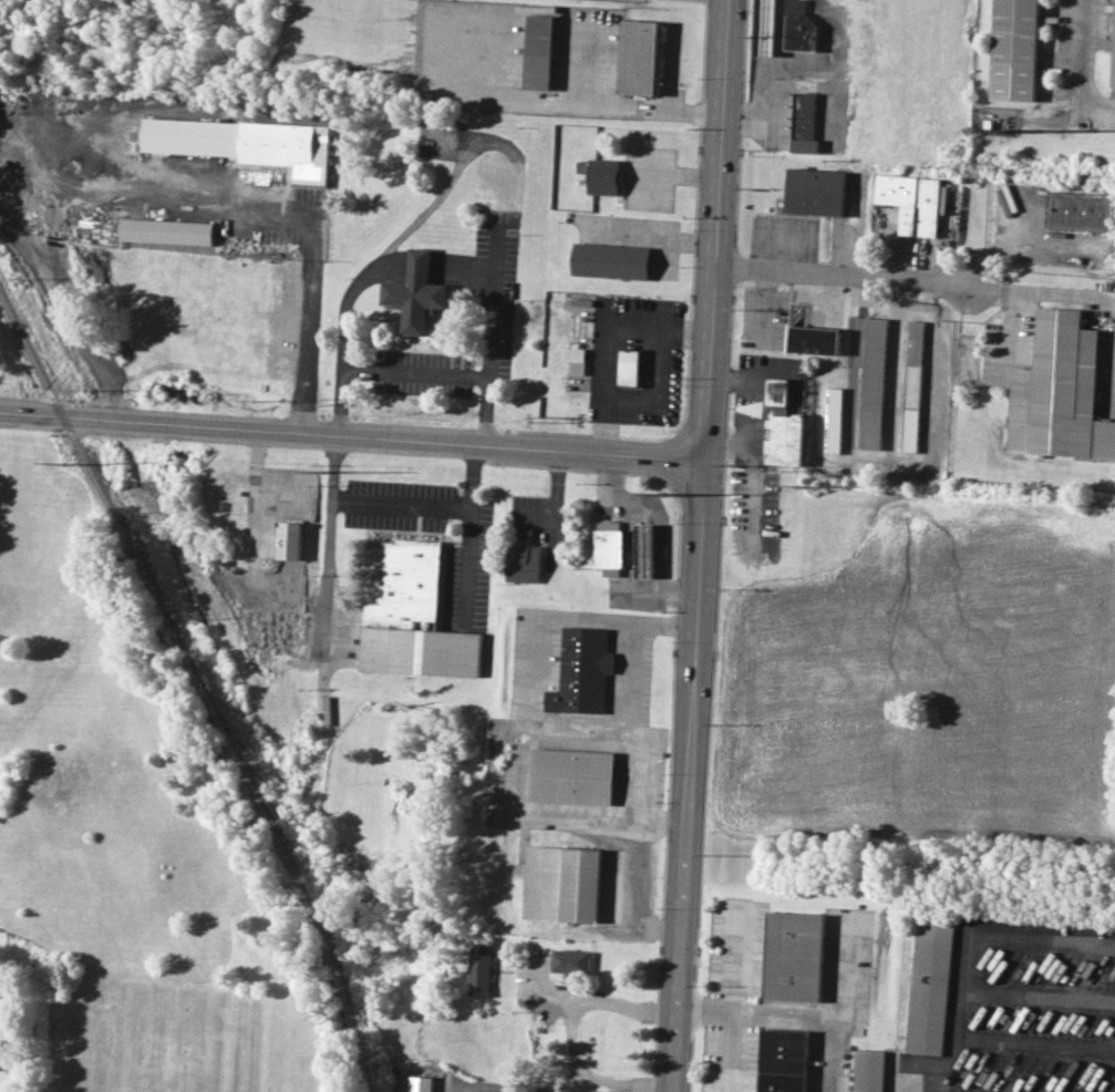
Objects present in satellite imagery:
building: (797, 28)
building: (1013, 50)
building: (1112, 50)
building: (538, 52)
road: (1080, 56)
building: (639, 58)
road: (791, 65)
building: (803, 123)
building: (247, 143)
building: (600, 175)
road: (685, 176)
building: (492, 185)
building: (814, 192)
building: (909, 202)
building: (1077, 212)
building: (167, 230)
road: (662, 235)
road: (306, 254)
road: (421, 260)
building: (610, 260)
road: (849, 272)
building: (416, 292)
road: (1045, 292)
road: (1010, 324)
road: (344, 329)
road: (491, 329)
road: (606, 336)
building: (813, 340)
building: (575, 359)
building: (628, 368)
road: (415, 373)
building: (871, 382)
building: (911, 384)
building: (1057, 391)
building: (752, 408)
road: (711, 411)
building: (833, 419)
building: (781, 426)
road: (353, 439)
road: (399, 504)
building: (290, 540)
building: (608, 547)
building: (646, 549)
road: (630, 556)
building: (523, 562)
building: (410, 614)
building: (582, 671)
railway: (199, 681)
road: (529, 697)
road: (627, 721)
building: (572, 775)
road: (661, 823)
building: (562, 883)
road: (627, 902)
road: (835, 911)
building: (795, 956)
road: (685, 958)
building: (571, 960)
building: (481, 969)
building: (930, 985)
road: (712, 1011)
road: (570, 1014)
road: (793, 1016)
road: (737, 1052)
building: (784, 1060)
building: (869, 1070)
building: (421, 1083)

